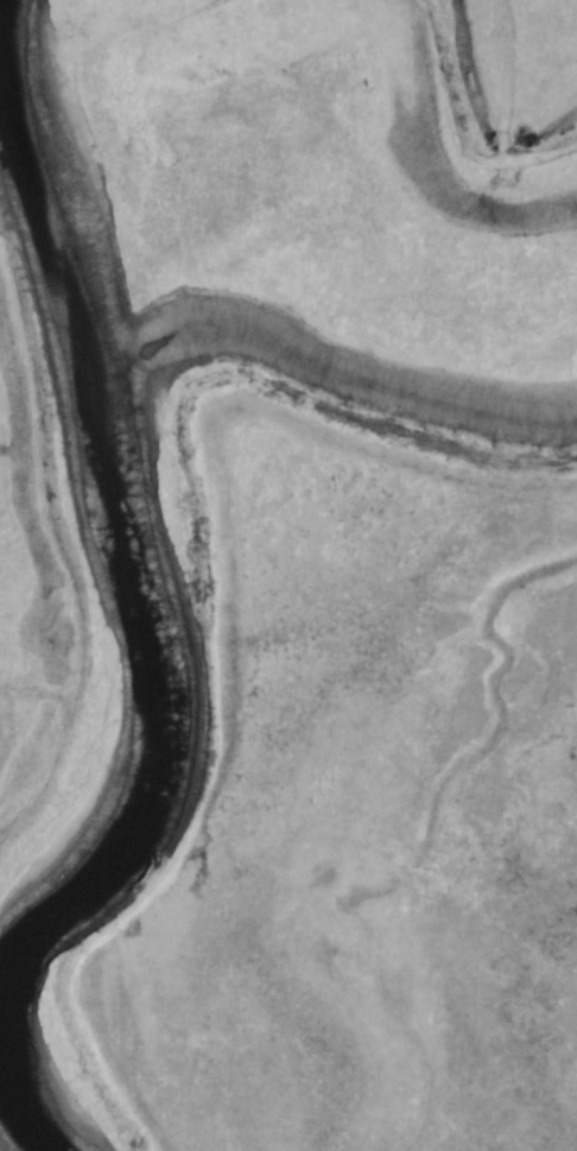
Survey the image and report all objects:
river: (144, 592)

